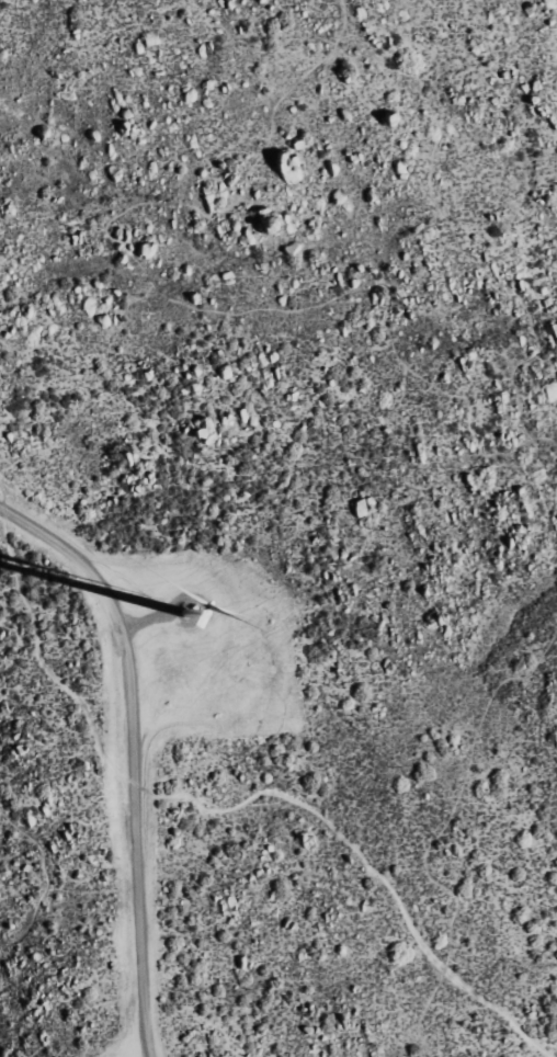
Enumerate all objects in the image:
building: (288, 167)
building: (268, 224)
building: (102, 320)
building: (205, 432)
building: (364, 505)
wind turbine: (192, 618)
road: (132, 752)
road: (42, 874)

